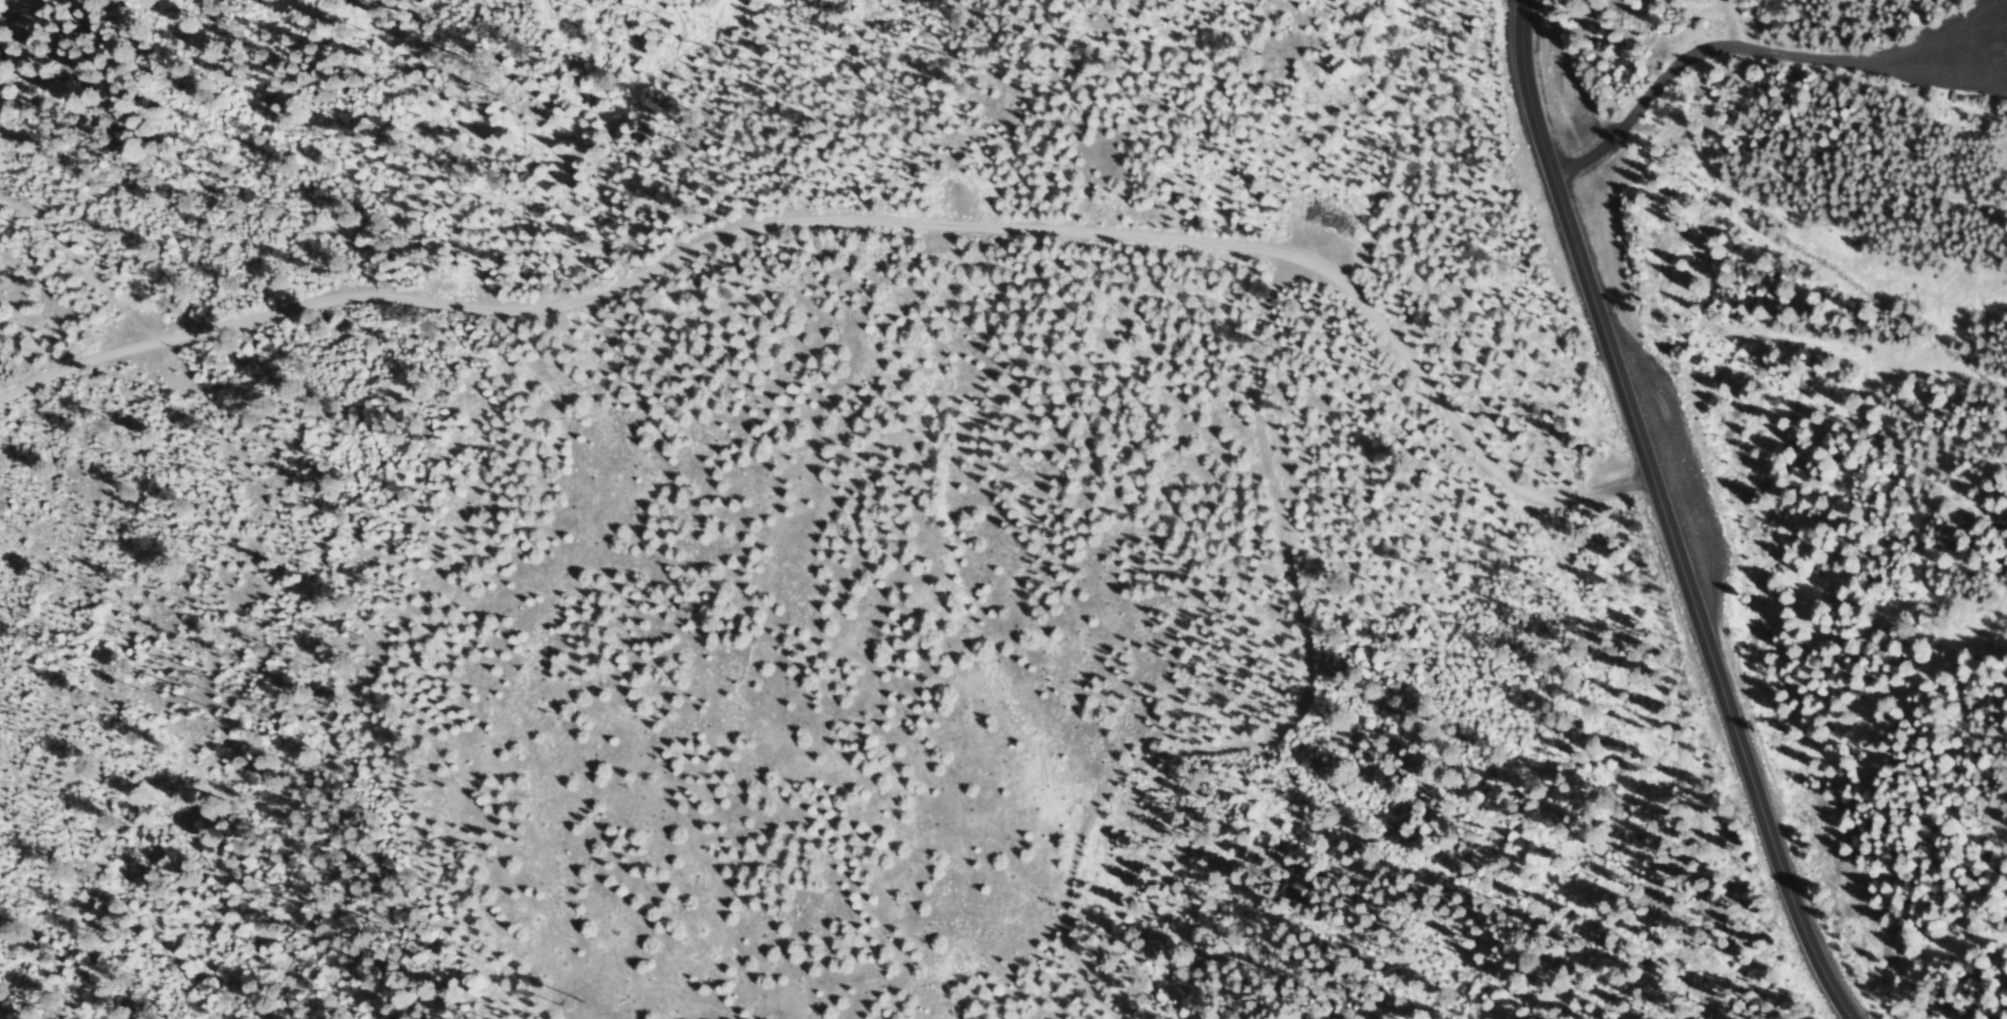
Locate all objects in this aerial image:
road: (1759, 51)
parking lot: (1955, 54)
road: (1663, 516)
road: (667, 740)

